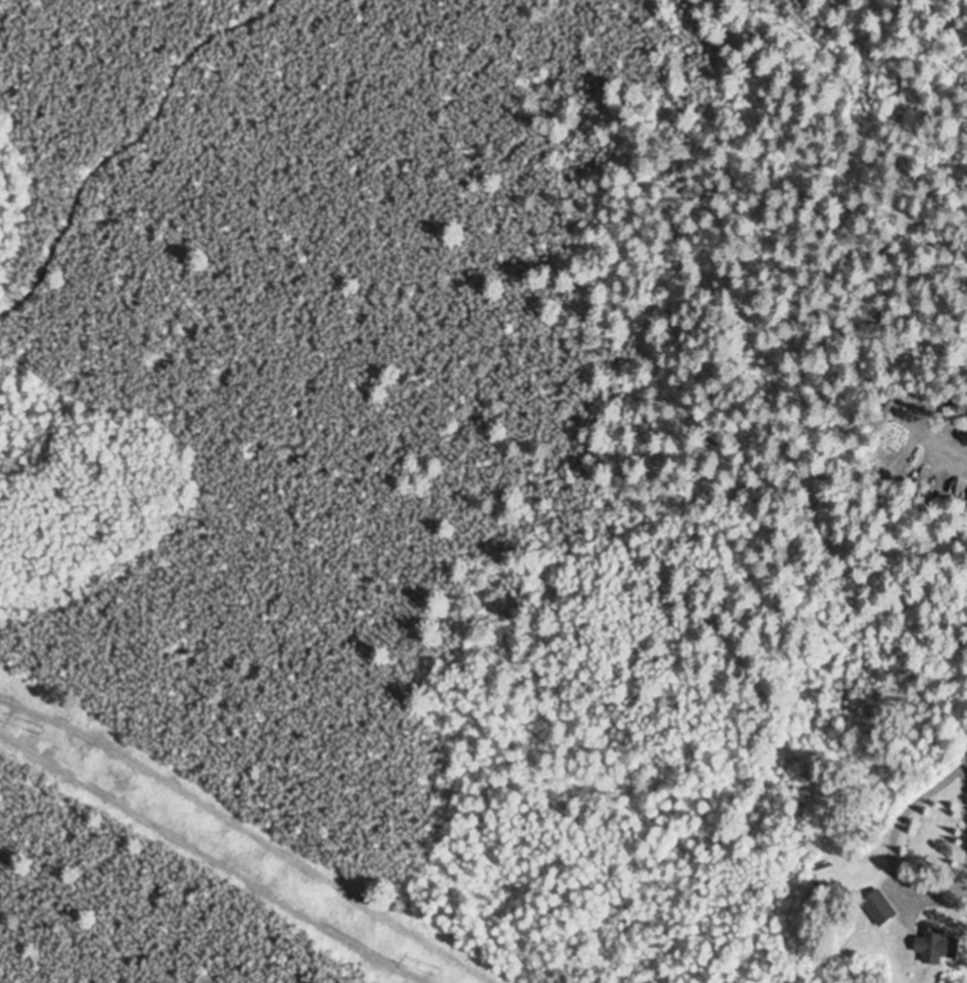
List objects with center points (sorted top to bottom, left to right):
power tower: (39, 722)
building: (882, 910)
building: (937, 948)
power tower: (429, 964)

